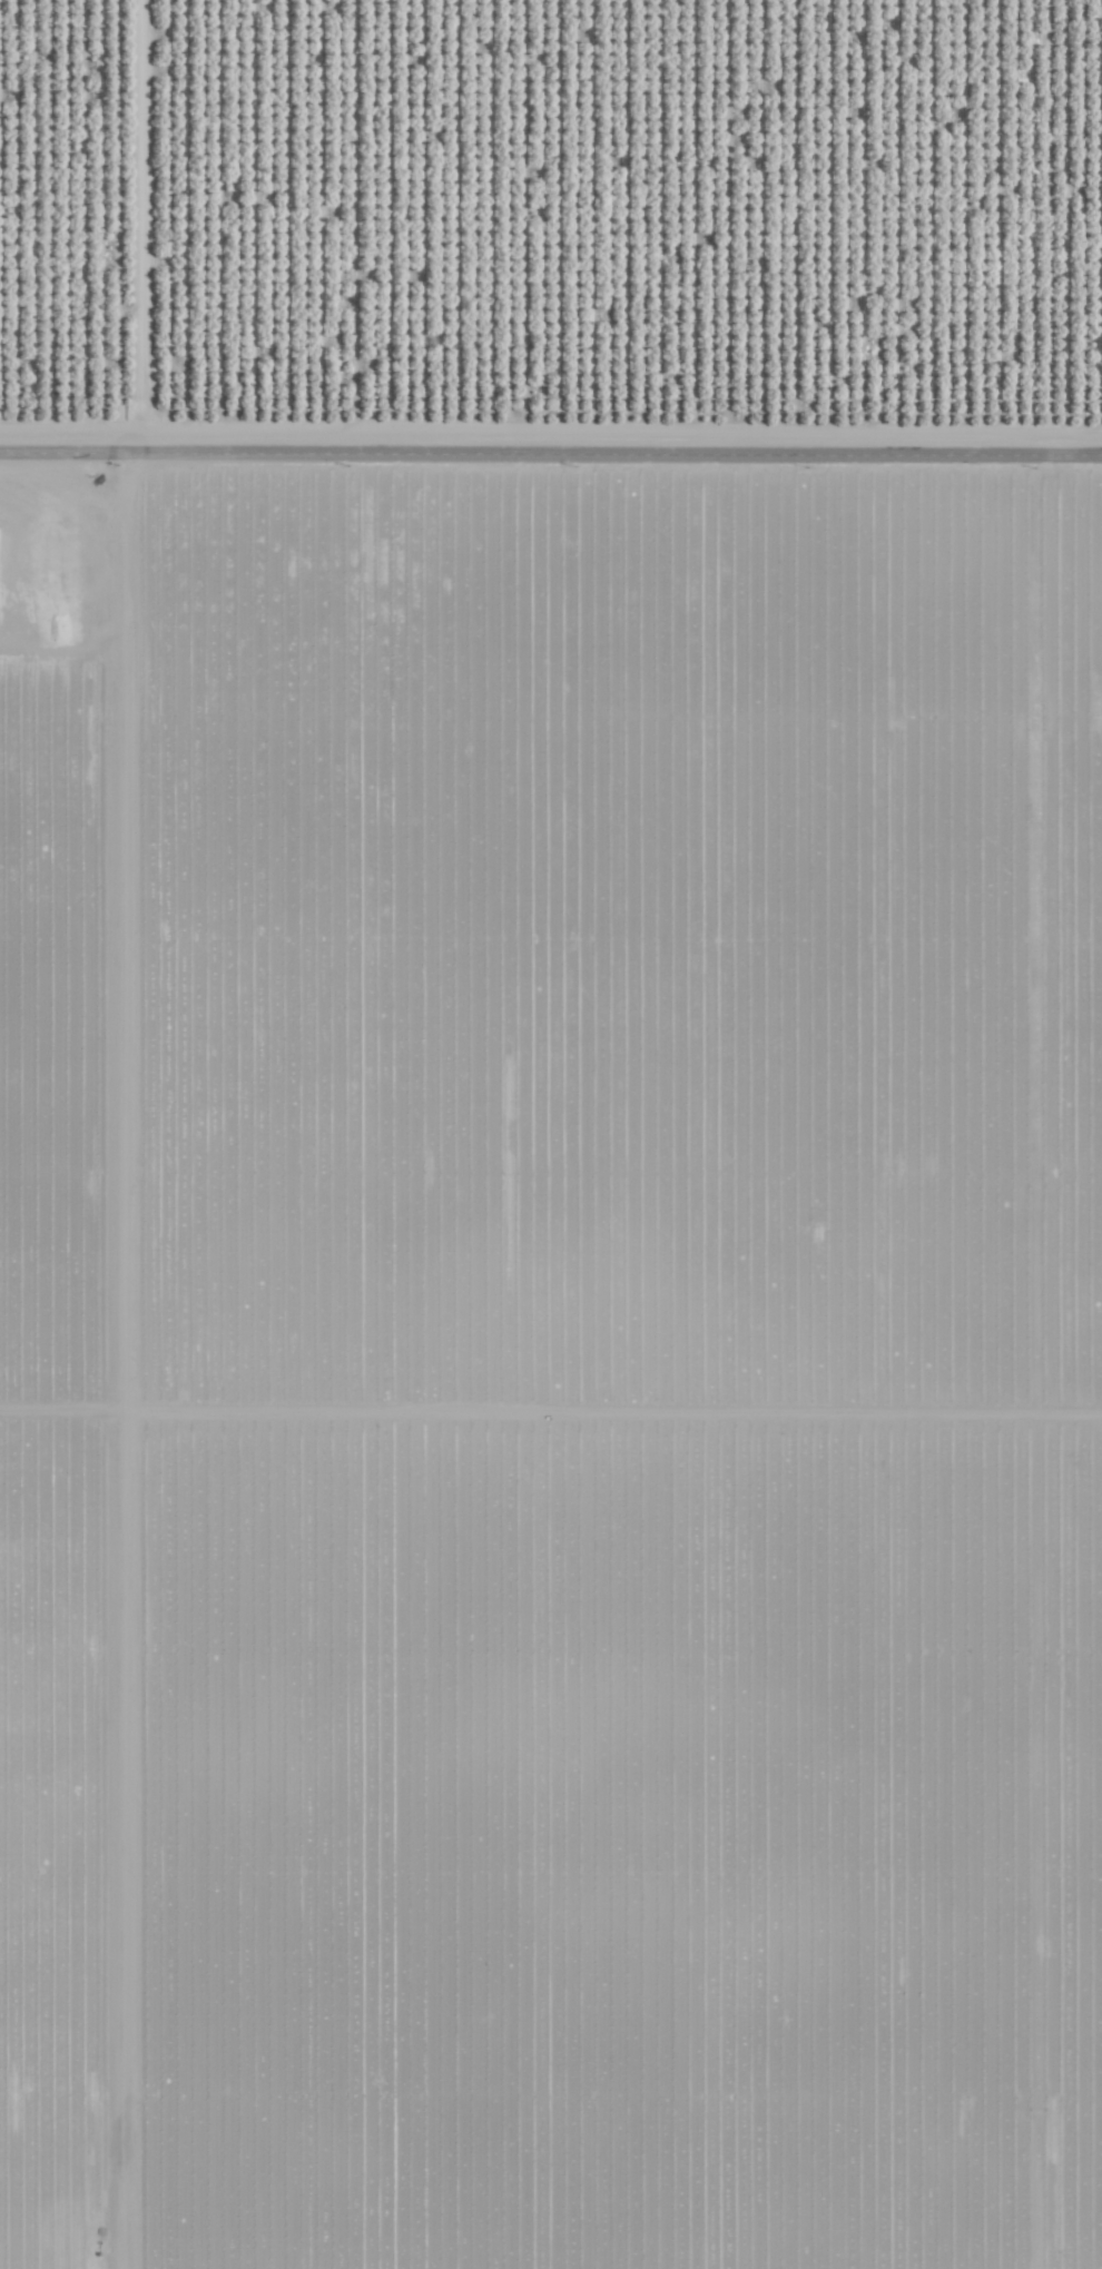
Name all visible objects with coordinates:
road: (551, 460)

